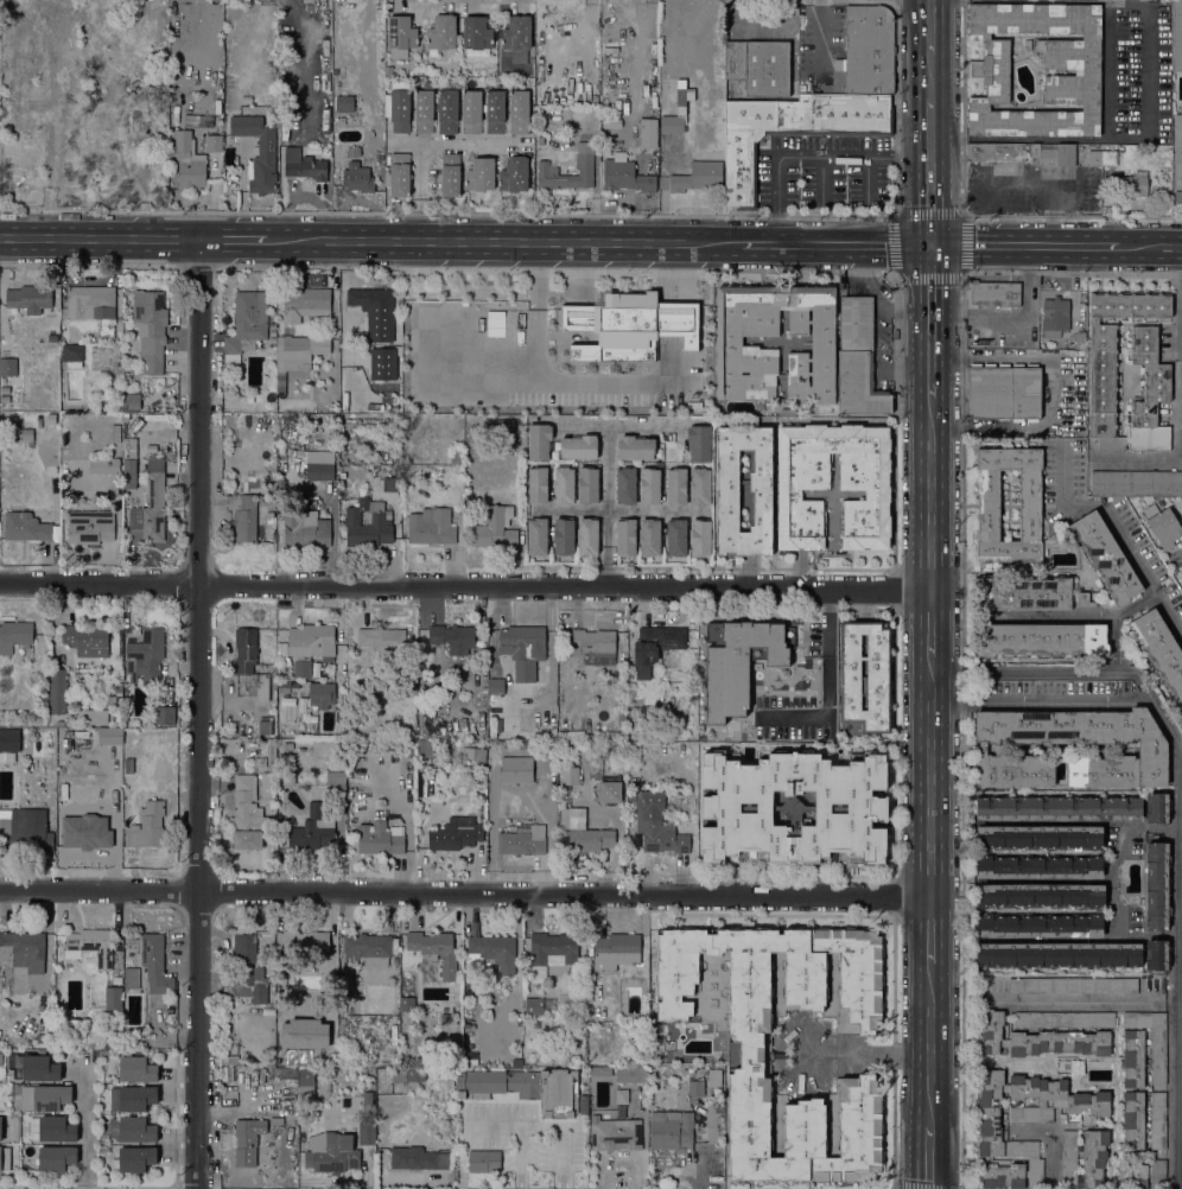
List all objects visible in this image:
road: (930, 27)
building: (441, 32)
building: (476, 33)
building: (516, 33)
building: (1177, 34)
building: (400, 36)
road: (821, 46)
building: (869, 50)
road: (833, 51)
building: (760, 66)
building: (388, 70)
building: (989, 71)
building: (363, 77)
road: (929, 77)
building: (835, 83)
building: (344, 100)
building: (400, 110)
building: (471, 112)
building: (495, 112)
building: (519, 112)
building: (542, 120)
building: (447, 121)
building: (671, 123)
building: (134, 128)
building: (793, 131)
building: (648, 133)
road: (1102, 139)
building: (214, 144)
road: (457, 145)
building: (96, 151)
building: (258, 152)
building: (354, 152)
building: (1022, 152)
road: (809, 157)
building: (1102, 158)
building: (1177, 158)
building: (189, 161)
building: (584, 164)
building: (307, 167)
road: (419, 172)
road: (930, 172)
building: (400, 174)
building: (450, 174)
building: (479, 174)
building: (514, 174)
building: (625, 174)
building: (697, 176)
building: (24, 177)
building: (356, 177)
building: (1130, 185)
road: (419, 209)
road: (634, 215)
road: (892, 216)
road: (960, 216)
road: (964, 216)
road: (419, 230)
road: (100, 240)
road: (233, 242)
road: (504, 243)
road: (837, 246)
road: (1025, 247)
road: (1151, 249)
road: (88, 266)
road: (198, 267)
road: (888, 272)
road: (897, 276)
building: (261, 282)
building: (992, 293)
building: (27, 299)
building: (90, 301)
building: (371, 301)
building: (307, 303)
building: (1055, 317)
road: (930, 322)
building: (2, 324)
building: (246, 324)
building: (272, 325)
building: (630, 328)
building: (150, 330)
building: (272, 332)
building: (345, 332)
building: (52, 337)
building: (272, 341)
building: (729, 341)
building: (1080, 341)
building: (72, 355)
building: (297, 355)
building: (858, 360)
building: (8, 367)
building: (1102, 382)
building: (5, 389)
road: (1051, 389)
building: (1004, 393)
building: (4, 399)
building: (131, 401)
building: (134, 422)
road: (618, 425)
building: (506, 427)
building: (15, 433)
building: (115, 433)
building: (331, 433)
building: (539, 441)
building: (699, 443)
building: (579, 446)
building: (129, 447)
building: (636, 447)
road: (1139, 456)
building: (456, 459)
building: (319, 465)
building: (104, 466)
building: (458, 468)
building: (1136, 483)
building: (390, 484)
building: (538, 485)
building: (564, 485)
building: (587, 485)
building: (627, 485)
building: (649, 485)
building: (676, 485)
building: (700, 485)
building: (803, 488)
building: (76, 489)
building: (744, 490)
road: (929, 494)
building: (989, 501)
building: (151, 504)
road: (608, 506)
road: (619, 511)
building: (243, 516)
building: (269, 517)
building: (368, 523)
road: (1117, 526)
building: (1162, 526)
building: (25, 527)
building: (90, 527)
building: (431, 527)
building: (304, 529)
building: (495, 529)
building: (538, 536)
building: (564, 536)
building: (587, 536)
building: (627, 536)
building: (649, 536)
building: (676, 538)
building: (700, 538)
road: (599, 549)
road: (1180, 553)
building: (1105, 558)
road: (599, 560)
building: (1181, 571)
road: (464, 585)
building: (1029, 593)
railway: (938, 594)
road: (1053, 618)
road: (1117, 619)
road: (928, 622)
building: (14, 635)
building: (382, 638)
building: (455, 638)
building: (85, 640)
building: (1040, 640)
building: (309, 641)
building: (592, 646)
building: (655, 647)
building: (522, 649)
building: (1159, 653)
building: (244, 654)
building: (145, 655)
building: (739, 662)
building: (303, 668)
building: (459, 678)
building: (864, 678)
road: (827, 681)
building: (287, 683)
building: (56, 691)
building: (495, 691)
building: (322, 693)
road: (1067, 695)
building: (374, 698)
building: (112, 700)
building: (648, 712)
building: (163, 714)
road: (202, 714)
building: (91, 716)
building: (59, 723)
building: (622, 725)
building: (265, 727)
building: (570, 735)
building: (107, 736)
building: (514, 745)
building: (362, 746)
building: (377, 746)
building: (424, 749)
building: (1152, 749)
building: (478, 754)
building: (7, 757)
building: (271, 757)
building: (259, 762)
building: (128, 765)
building: (287, 771)
building: (567, 775)
road: (929, 775)
building: (267, 784)
building: (336, 786)
building: (609, 791)
building: (710, 791)
building: (876, 793)
building: (348, 795)
building: (631, 795)
building: (1157, 807)
building: (720, 808)
building: (748, 808)
building: (838, 808)
building: (1059, 808)
building: (793, 810)
building: (248, 815)
building: (577, 819)
road: (1174, 822)
building: (710, 824)
building: (876, 825)
building: (146, 826)
building: (312, 829)
building: (456, 833)
building: (25, 834)
building: (87, 834)
building: (662, 837)
building: (380, 838)
building: (1038, 838)
building: (590, 839)
building: (520, 844)
road: (1120, 853)
building: (1038, 866)
building: (1157, 886)
road: (464, 894)
building: (1041, 896)
building: (1040, 926)
road: (929, 930)
building: (303, 946)
building: (89, 947)
building: (23, 949)
building: (367, 949)
building: (434, 949)
building: (615, 950)
building: (493, 952)
building: (551, 953)
building: (1157, 954)
building: (1059, 955)
building: (155, 965)
building: (248, 969)
building: (131, 977)
building: (227, 983)
building: (345, 983)
building: (1073, 985)
building: (112, 998)
road: (1041, 1000)
building: (406, 1004)
building: (533, 1006)
building: (1065, 1019)
building: (304, 1034)
building: (39, 1038)
building: (1037, 1039)
building: (1151, 1039)
road: (928, 1044)
road: (865, 1054)
building: (751, 1055)
building: (0, 1058)
building: (1132, 1058)
building: (229, 1060)
building: (37, 1068)
building: (136, 1069)
building: (285, 1073)
building: (227, 1074)
building: (409, 1074)
building: (630, 1074)
building: (714, 1077)
building: (305, 1083)
building: (523, 1087)
building: (695, 1088)
building: (45, 1098)
building: (132, 1098)
building: (396, 1099)
building: (368, 1106)
building: (275, 1120)
building: (1133, 1120)
building: (1157, 1120)
building: (0, 1127)
road: (89, 1127)
building: (52, 1128)
building: (134, 1128)
building: (672, 1130)
building: (990, 1131)
building: (367, 1132)
building: (615, 1134)
building: (247, 1140)
building: (104, 1147)
building: (330, 1152)
building: (1097, 1155)
building: (56, 1157)
road: (929, 1157)
building: (4, 1158)
building: (414, 1158)
building: (133, 1159)
building: (483, 1161)
building: (1142, 1175)

